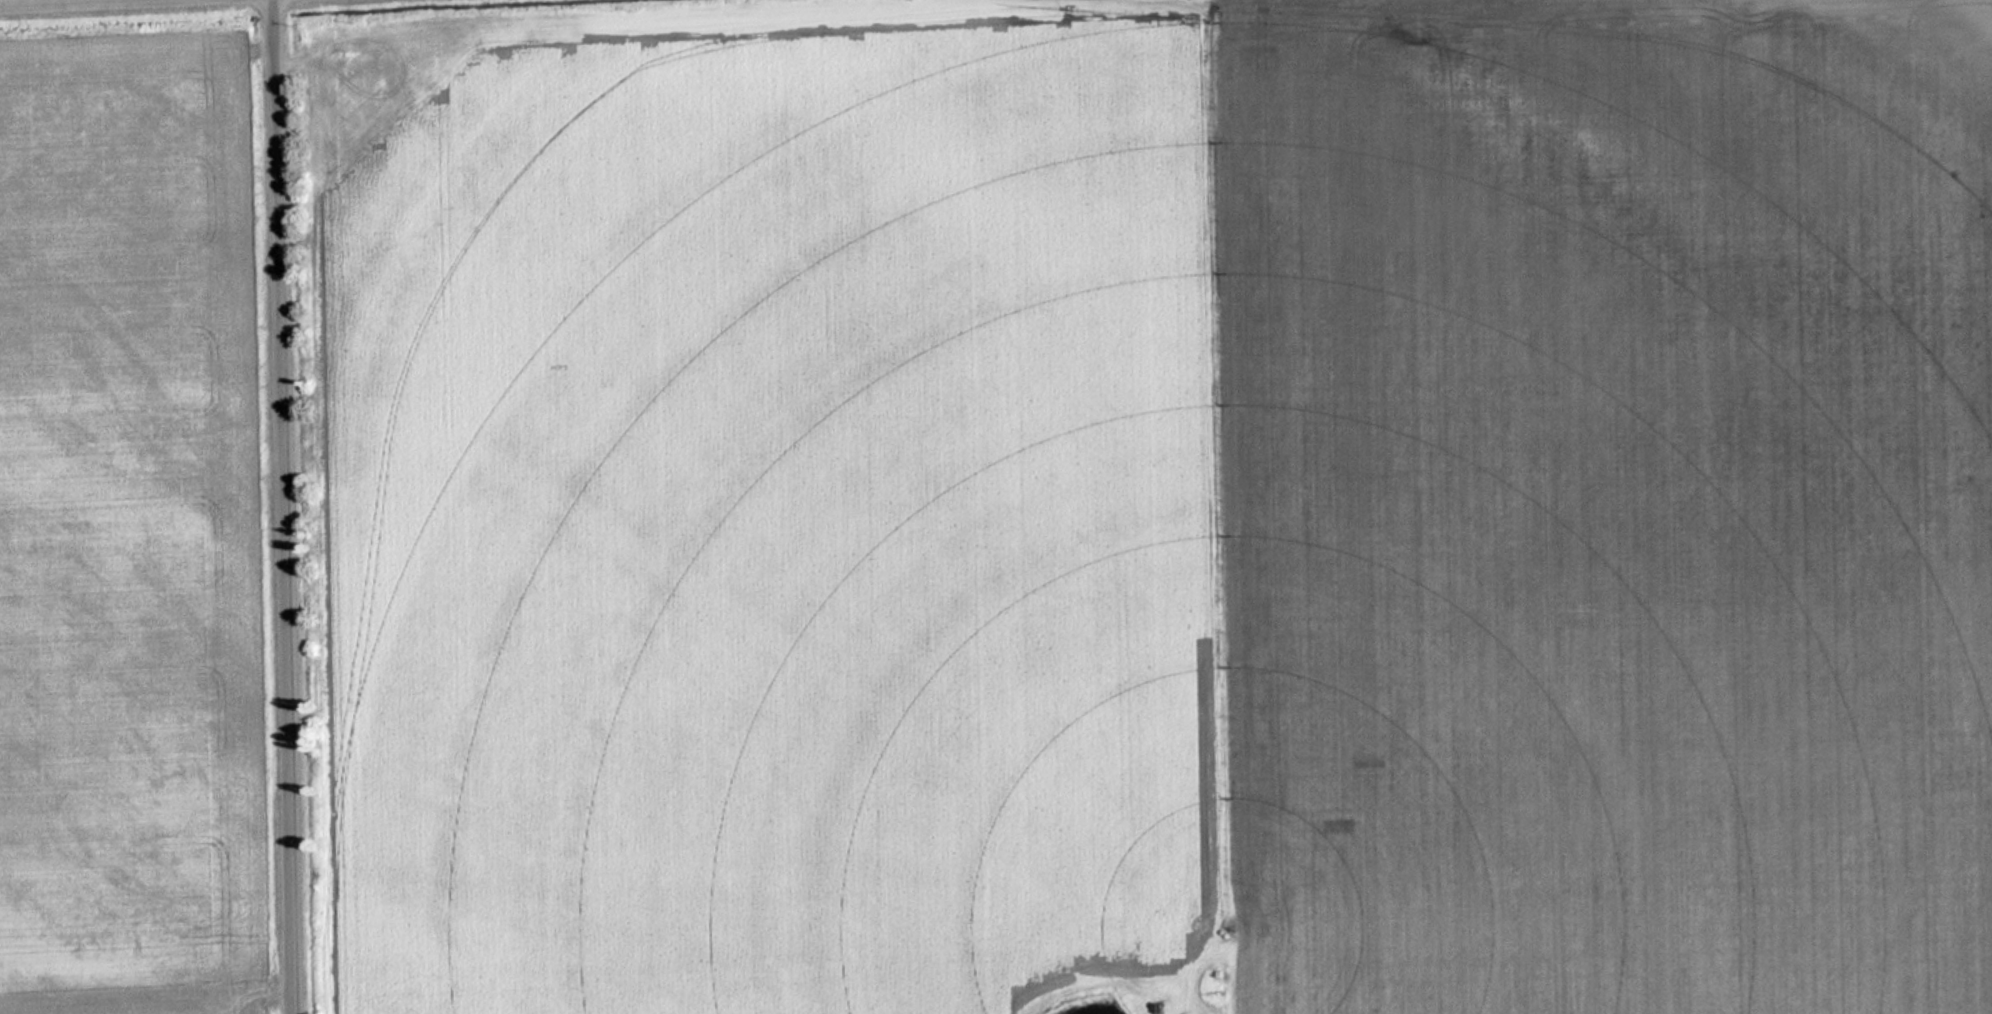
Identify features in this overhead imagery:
road: (54, 2)
road: (283, 506)

